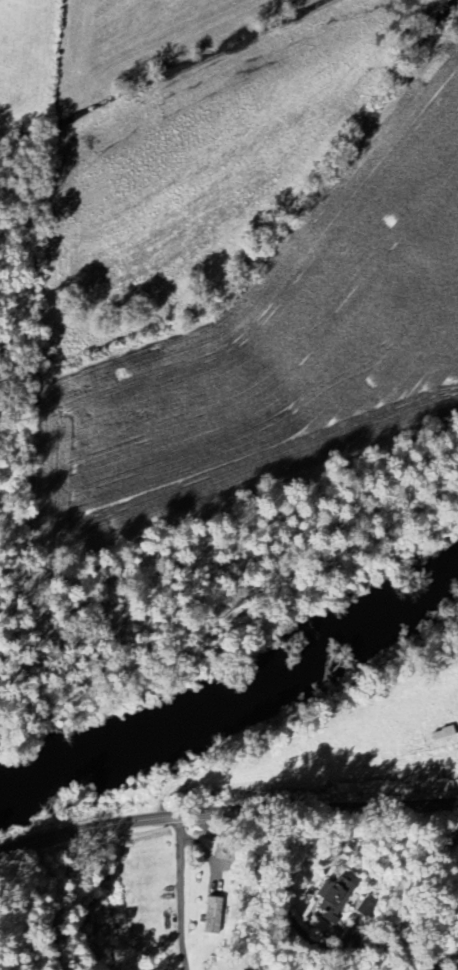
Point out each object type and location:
river: (236, 705)
road: (226, 810)
road: (277, 879)
road: (180, 892)
building: (331, 897)
road: (50, 902)
building: (212, 915)

